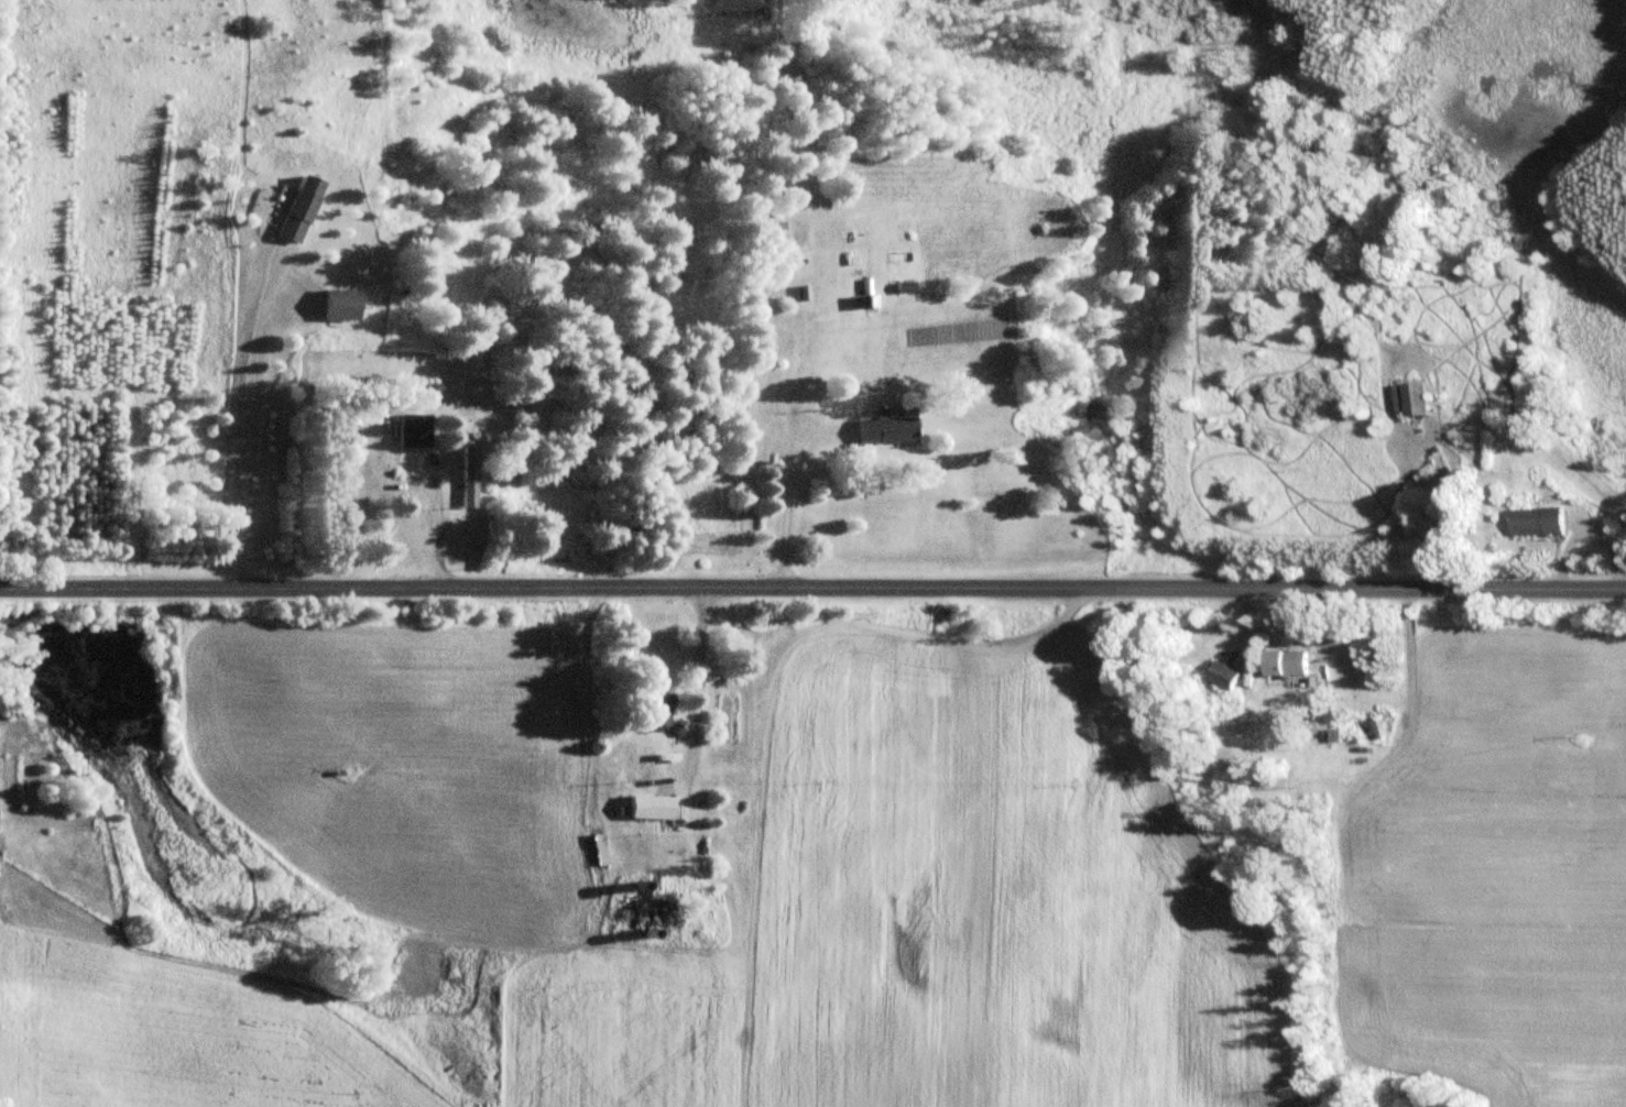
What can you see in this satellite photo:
building: (303, 209)
building: (909, 286)
building: (345, 304)
building: (1423, 398)
building: (890, 430)
building: (413, 469)
building: (1545, 520)
road: (812, 589)
building: (1289, 662)
building: (663, 712)
building: (657, 804)
building: (666, 909)

